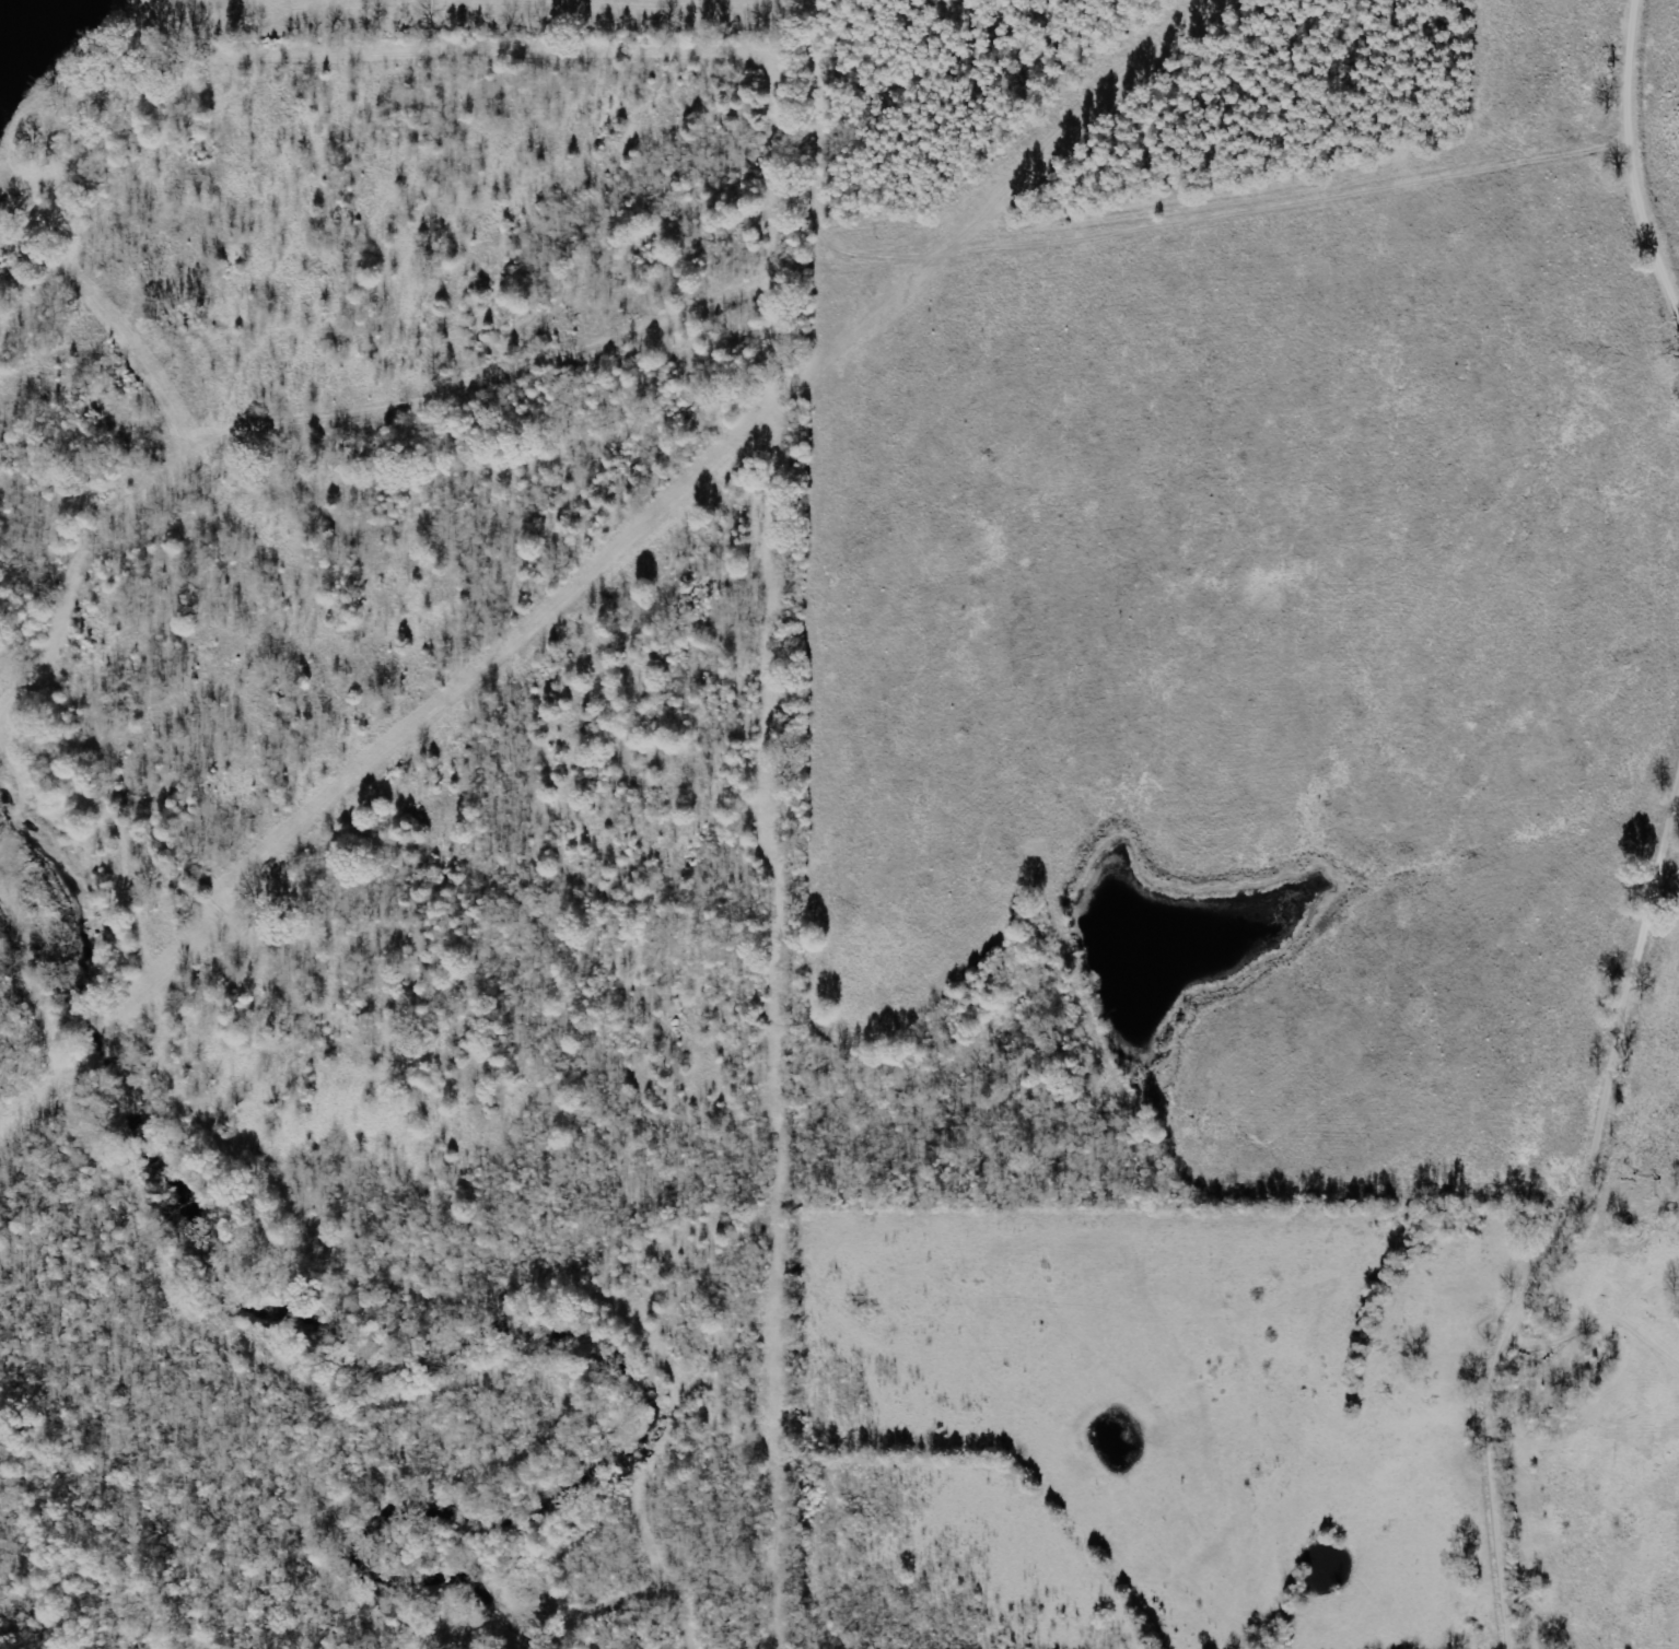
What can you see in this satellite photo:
road: (1641, 147)
road: (1353, 616)
road: (1573, 1237)

